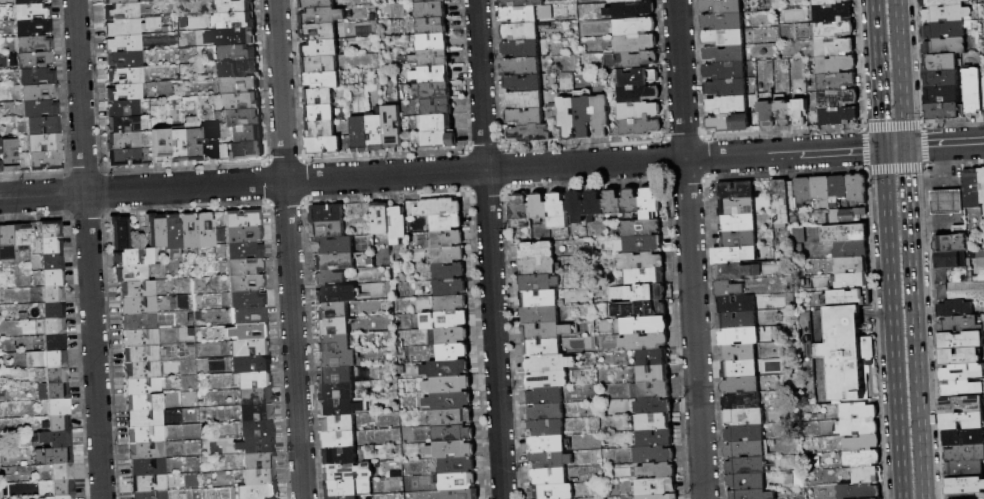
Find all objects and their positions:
building: (119, 1)
building: (428, 1)
building: (625, 1)
building: (26, 2)
building: (829, 2)
building: (523, 3)
building: (941, 3)
building: (316, 4)
building: (236, 6)
building: (722, 6)
building: (431, 10)
building: (632, 10)
building: (32, 11)
building: (122, 11)
building: (833, 12)
building: (945, 14)
building: (520, 15)
building: (323, 16)
building: (236, 21)
building: (723, 21)
building: (33, 27)
building: (124, 27)
building: (432, 27)
building: (635, 27)
building: (834, 29)
building: (946, 30)
building: (320, 31)
building: (521, 32)
building: (238, 37)
building: (723, 38)
building: (124, 43)
building: (433, 43)
building: (636, 43)
building: (34, 44)
building: (944, 46)
building: (835, 47)
building: (321, 48)
building: (522, 49)
building: (238, 53)
building: (725, 54)
building: (35, 59)
building: (126, 59)
building: (428, 59)
building: (631, 60)
building: (941, 63)
building: (835, 64)
building: (320, 65)
building: (523, 66)
building: (239, 69)
building: (726, 71)
road: (877, 73)
road: (899, 73)
building: (126, 75)
building: (37, 76)
building: (431, 76)
building: (638, 77)
building: (941, 79)
building: (324, 80)
building: (837, 82)
building: (524, 83)
building: (240, 85)
building: (728, 89)
building: (433, 91)
building: (39, 92)
building: (125, 92)
building: (973, 92)
building: (639, 94)
building: (942, 95)
building: (982, 95)
building: (320, 97)
building: (838, 99)
building: (525, 100)
building: (241, 102)
building: (728, 106)
building: (436, 107)
building: (40, 108)
building: (123, 108)
building: (767, 108)
building: (639, 111)
building: (800, 112)
building: (945, 112)
building: (583, 113)
building: (784, 113)
building: (320, 114)
building: (526, 116)
building: (839, 116)
building: (601, 117)
building: (242, 118)
building: (567, 118)
building: (437, 123)
building: (730, 123)
building: (44, 125)
building: (124, 125)
building: (392, 127)
building: (640, 128)
building: (321, 130)
building: (246, 133)
building: (377, 133)
building: (361, 134)
building: (530, 134)
building: (193, 138)
building: (438, 140)
building: (124, 141)
building: (210, 141)
building: (45, 143)
building: (160, 144)
building: (176, 144)
road: (943, 144)
building: (324, 145)
road: (892, 147)
traffic signals: (903, 147)
traffic signals: (881, 148)
building: (245, 150)
building: (10, 155)
building: (144, 155)
building: (124, 156)
building: (1, 157)
building: (47, 160)
road: (440, 172)
building: (982, 185)
building: (858, 189)
building: (972, 189)
building: (804, 190)
building: (838, 190)
building: (736, 191)
building: (822, 191)
building: (632, 201)
building: (783, 201)
building: (614, 202)
building: (947, 202)
gas station: (947, 202)
building: (595, 204)
building: (650, 204)
building: (540, 206)
building: (440, 207)
building: (577, 207)
building: (737, 207)
building: (520, 211)
building: (558, 211)
building: (327, 213)
building: (842, 216)
building: (244, 218)
building: (381, 218)
building: (446, 223)
building: (738, 223)
building: (398, 225)
building: (51, 228)
building: (642, 228)
building: (207, 229)
building: (156, 230)
building: (329, 230)
building: (959, 230)
building: (189, 231)
building: (121, 233)
building: (244, 233)
building: (846, 234)
building: (22, 235)
building: (173, 236)
building: (445, 239)
building: (739, 239)
building: (7, 242)
building: (953, 243)
building: (52, 244)
building: (643, 244)
building: (334, 246)
road: (88, 249)
road: (288, 249)
road: (488, 249)
road: (688, 249)
building: (852, 249)
building: (245, 250)
building: (535, 251)
building: (448, 255)
building: (734, 255)
building: (133, 257)
building: (959, 259)
building: (53, 261)
building: (641, 261)
building: (335, 262)
building: (852, 265)
building: (246, 266)
building: (538, 266)
building: (449, 271)
building: (737, 272)
building: (131, 273)
building: (646, 276)
building: (52, 277)
building: (330, 278)
building: (853, 282)
building: (247, 283)
building: (540, 283)
building: (960, 284)
building: (451, 287)
building: (657, 288)
building: (137, 289)
building: (729, 289)
building: (54, 293)
building: (337, 294)
building: (622, 294)
building: (543, 298)
building: (850, 298)
building: (247, 300)
building: (451, 304)
building: (737, 304)
building: (139, 305)
building: (954, 308)
building: (650, 309)
building: (55, 310)
building: (332, 311)
building: (249, 315)
building: (541, 315)
building: (444, 320)
building: (738, 320)
building: (140, 321)
road: (912, 322)
road: (890, 323)
building: (962, 324)
building: (646, 325)
building: (54, 326)
building: (333, 327)
building: (248, 331)
building: (549, 331)
building: (453, 335)
building: (739, 336)
building: (141, 337)
building: (960, 340)
building: (55, 342)
building: (644, 342)
building: (334, 343)
building: (250, 347)
building: (542, 347)
building: (453, 352)
building: (739, 352)
building: (141, 354)
building: (848, 354)
building: (960, 356)
building: (653, 357)
building: (47, 359)
building: (338, 359)
building: (251, 364)
building: (550, 364)
building: (446, 369)
building: (740, 369)
building: (143, 370)
building: (654, 373)
building: (962, 373)
building: (57, 375)
building: (336, 376)
building: (253, 380)
building: (548, 380)
building: (449, 384)
building: (145, 385)
building: (741, 385)
building: (961, 389)
building: (655, 390)
building: (54, 391)
building: (338, 392)
building: (255, 396)
building: (545, 396)
building: (449, 401)
building: (144, 402)
building: (741, 402)
building: (961, 404)
building: (59, 406)
building: (341, 407)
building: (654, 407)
building: (860, 411)
building: (256, 413)
building: (546, 413)
building: (452, 417)
building: (745, 417)
building: (145, 419)
building: (962, 421)
building: (654, 422)
building: (58, 423)
building: (339, 423)
building: (861, 427)
building: (547, 428)
building: (257, 429)
building: (454, 433)
building: (745, 433)
building: (145, 434)
building: (964, 437)
building: (56, 438)
building: (340, 439)
building: (656, 439)
building: (863, 442)
building: (256, 445)
building: (547, 445)
building: (746, 449)
building: (147, 450)
building: (451, 450)
building: (965, 454)
building: (54, 455)
building: (654, 455)
building: (341, 456)
building: (863, 457)
building: (260, 460)
building: (550, 460)
building: (148, 466)
building: (747, 466)
building: (458, 467)
building: (964, 470)
building: (657, 471)
building: (63, 472)
building: (349, 472)
building: (867, 474)
building: (260, 477)
building: (548, 477)
building: (754, 481)
building: (458, 482)
building: (149, 483)
building: (965, 486)
building: (657, 487)
building: (63, 488)
building: (342, 489)
building: (553, 491)
building: (860, 491)
building: (258, 492)
building: (151, 494)
building: (462, 494)
building: (751, 494)
building: (61, 497)
building: (345, 497)
building: (659, 497)

